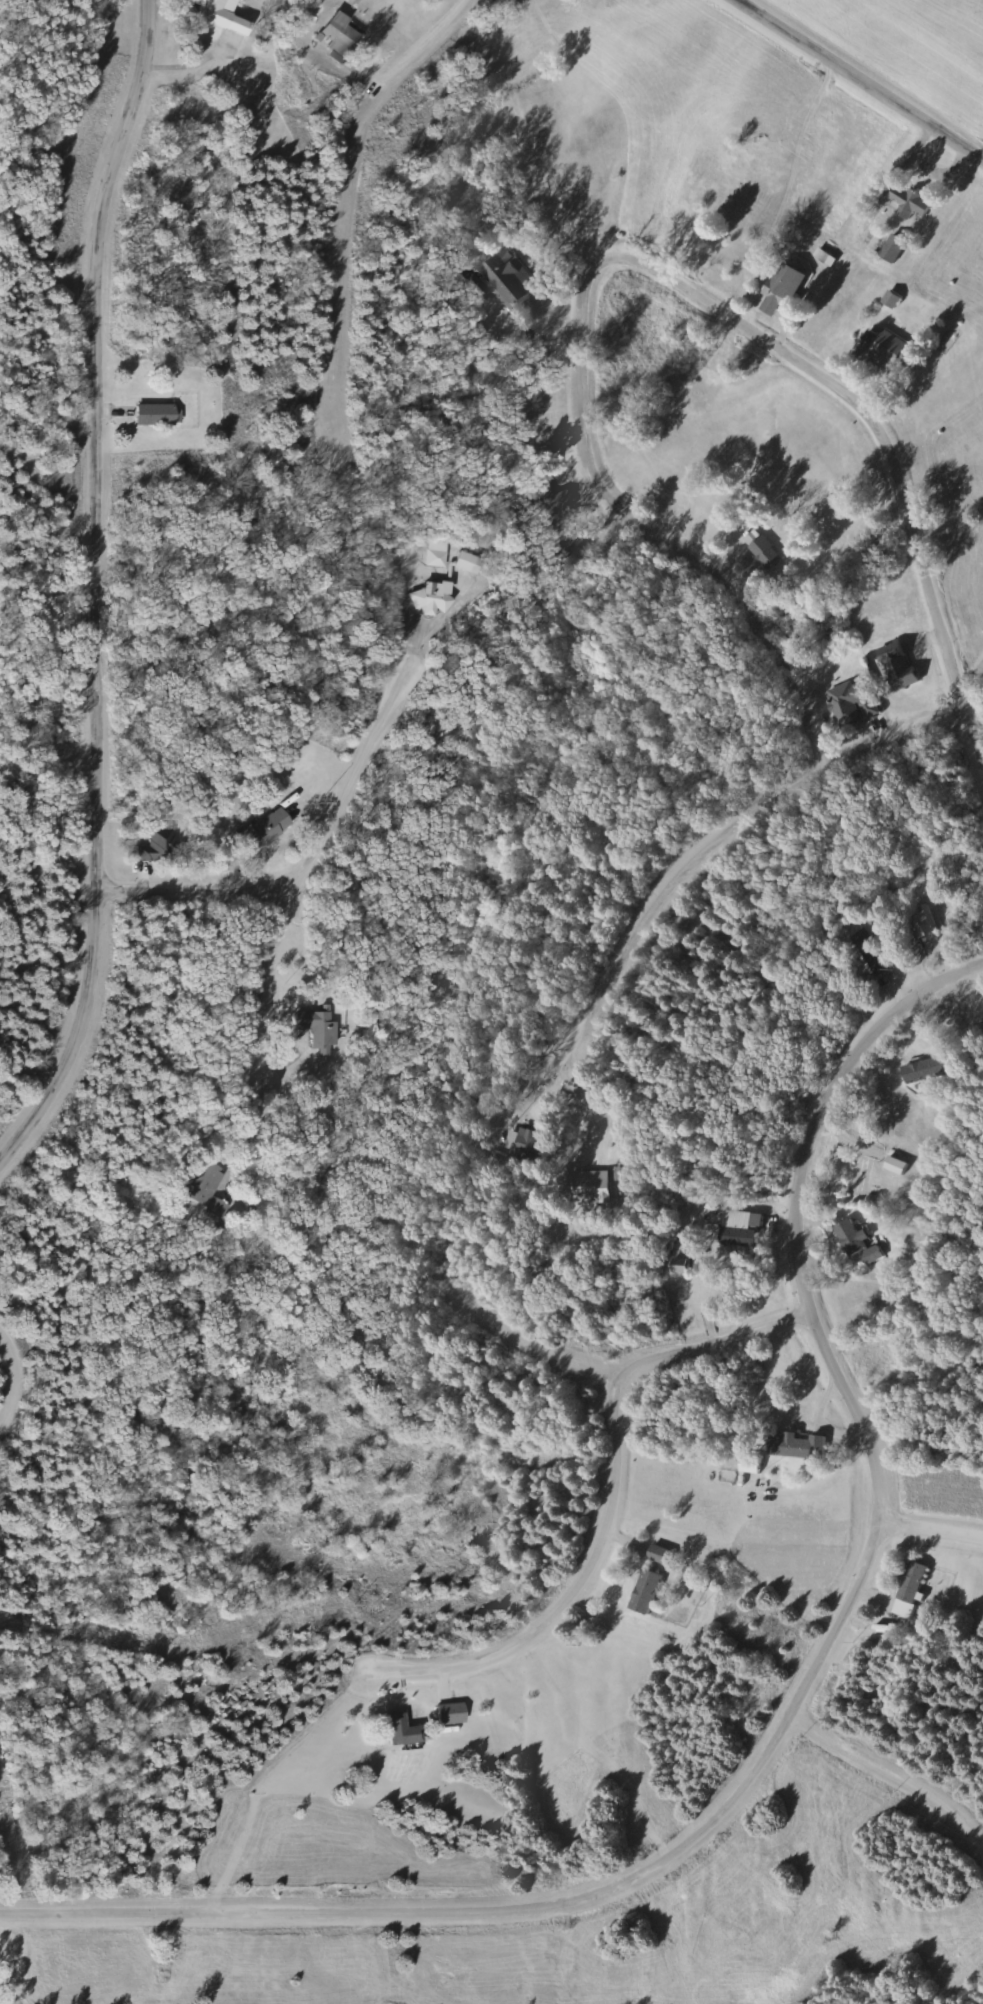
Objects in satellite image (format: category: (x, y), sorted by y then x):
building: (209, 13)
building: (338, 32)
road: (417, 49)
road: (862, 79)
building: (907, 202)
building: (890, 249)
road: (642, 260)
building: (506, 280)
building: (780, 289)
building: (877, 347)
building: (153, 414)
building: (547, 498)
building: (762, 552)
building: (435, 553)
building: (465, 562)
road: (101, 597)
building: (430, 597)
building: (894, 665)
building: (850, 702)
road: (366, 757)
building: (260, 830)
road: (724, 832)
building: (154, 847)
road: (285, 871)
road: (194, 889)
building: (918, 922)
road: (259, 983)
building: (317, 1028)
building: (919, 1070)
road: (246, 1110)
building: (522, 1146)
building: (892, 1166)
building: (859, 1178)
building: (587, 1187)
building: (207, 1189)
building: (733, 1229)
building: (851, 1238)
road: (670, 1352)
road: (532, 1387)
building: (795, 1446)
road: (935, 1528)
building: (658, 1555)
building: (907, 1590)
building: (644, 1592)
road: (542, 1626)
building: (448, 1713)
road: (794, 1713)
building: (400, 1730)
road: (890, 1794)

